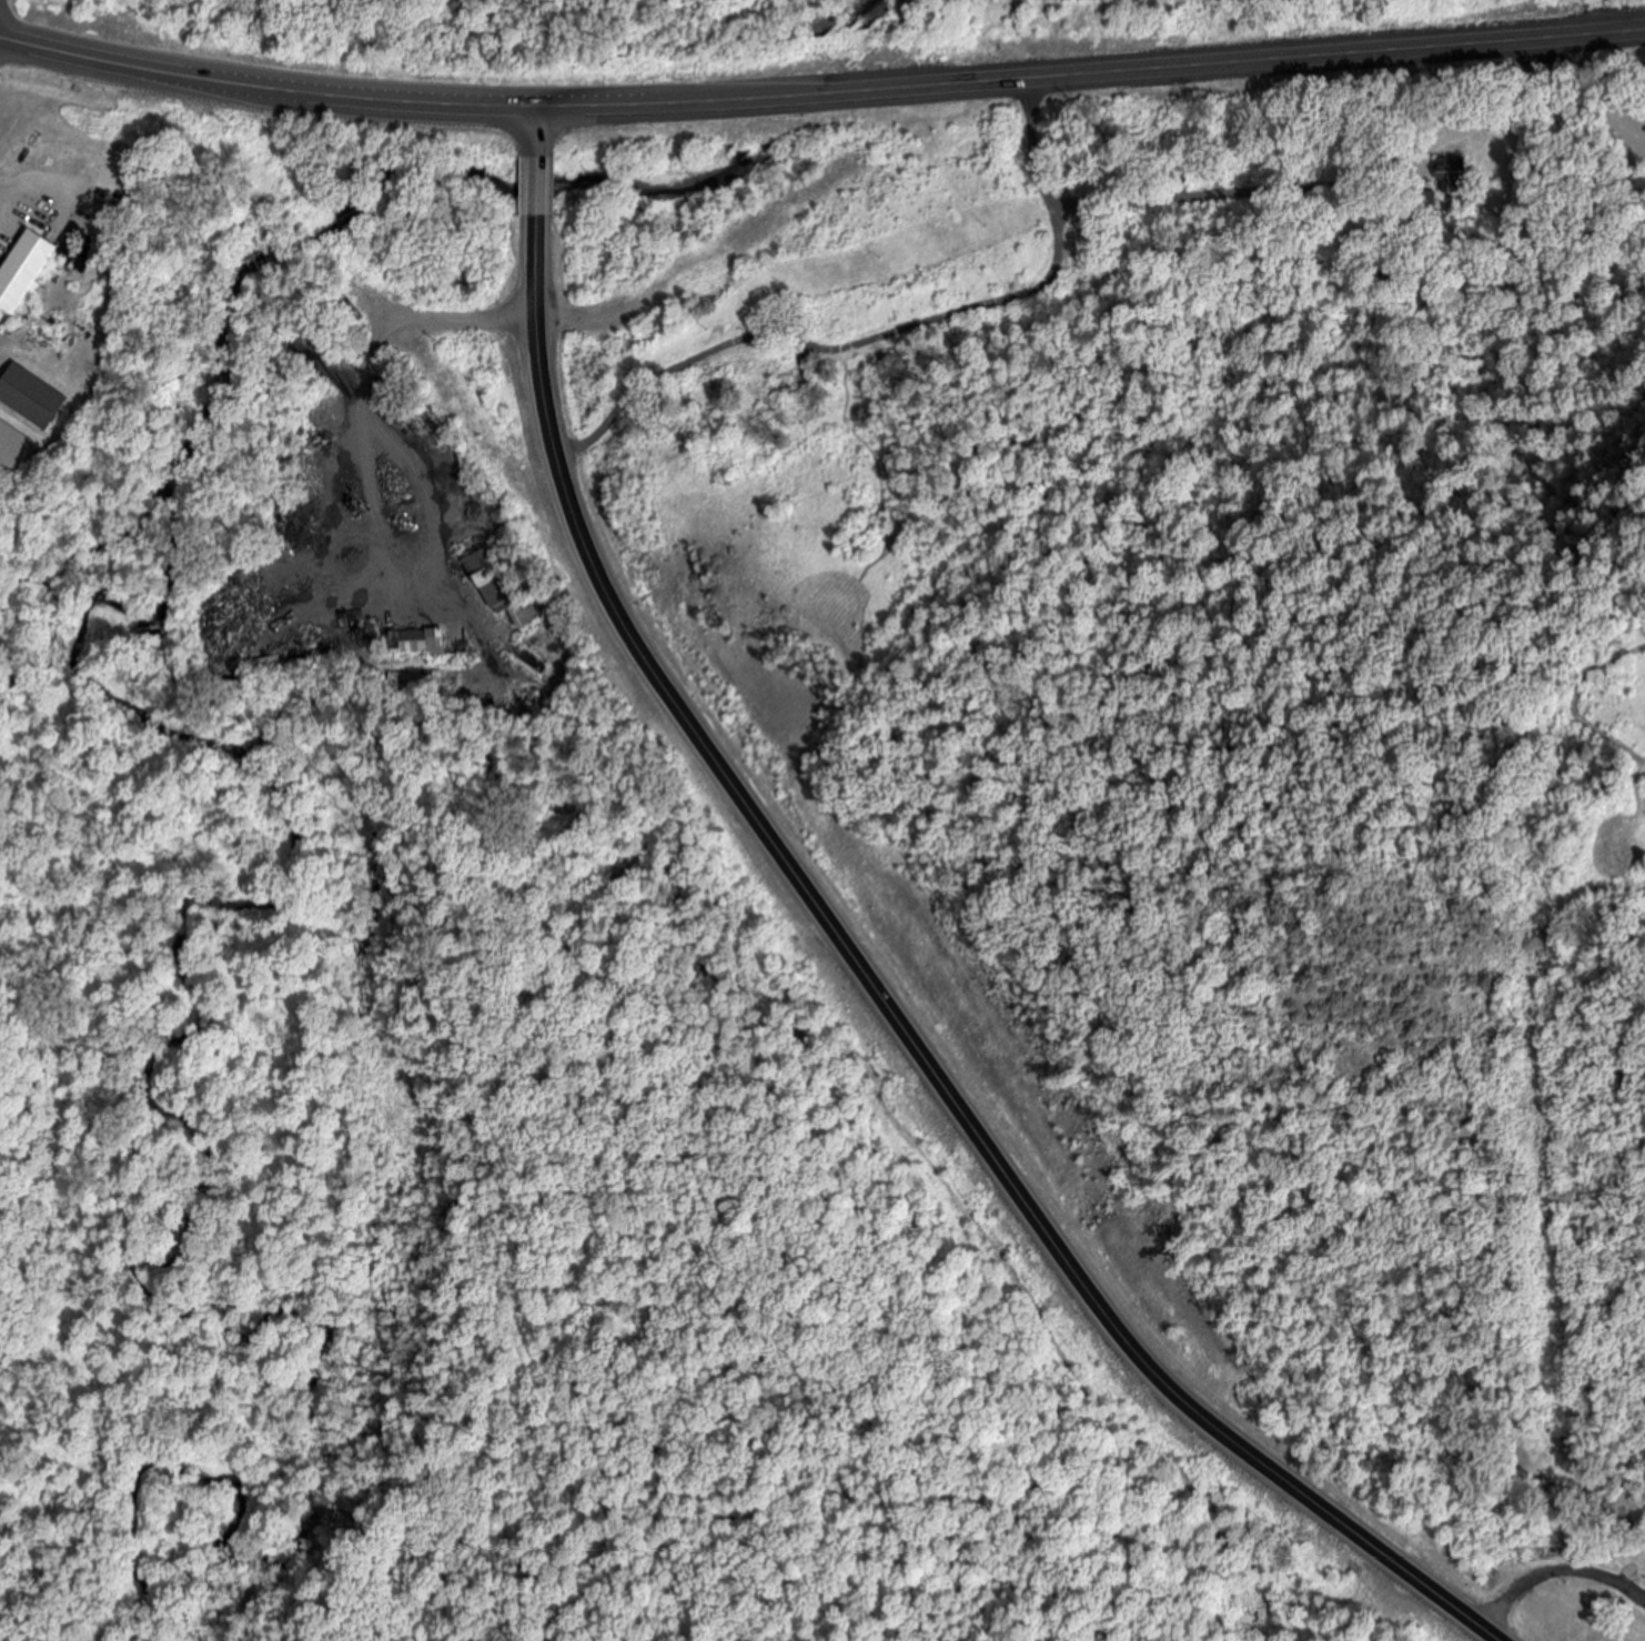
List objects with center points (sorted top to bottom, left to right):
road: (820, 92)
road: (538, 131)
building: (1451, 173)
road: (537, 187)
building: (26, 271)
road: (889, 334)
building: (875, 360)
building: (34, 397)
building: (503, 585)
building: (417, 642)
road: (889, 1007)
road: (1556, 1573)

